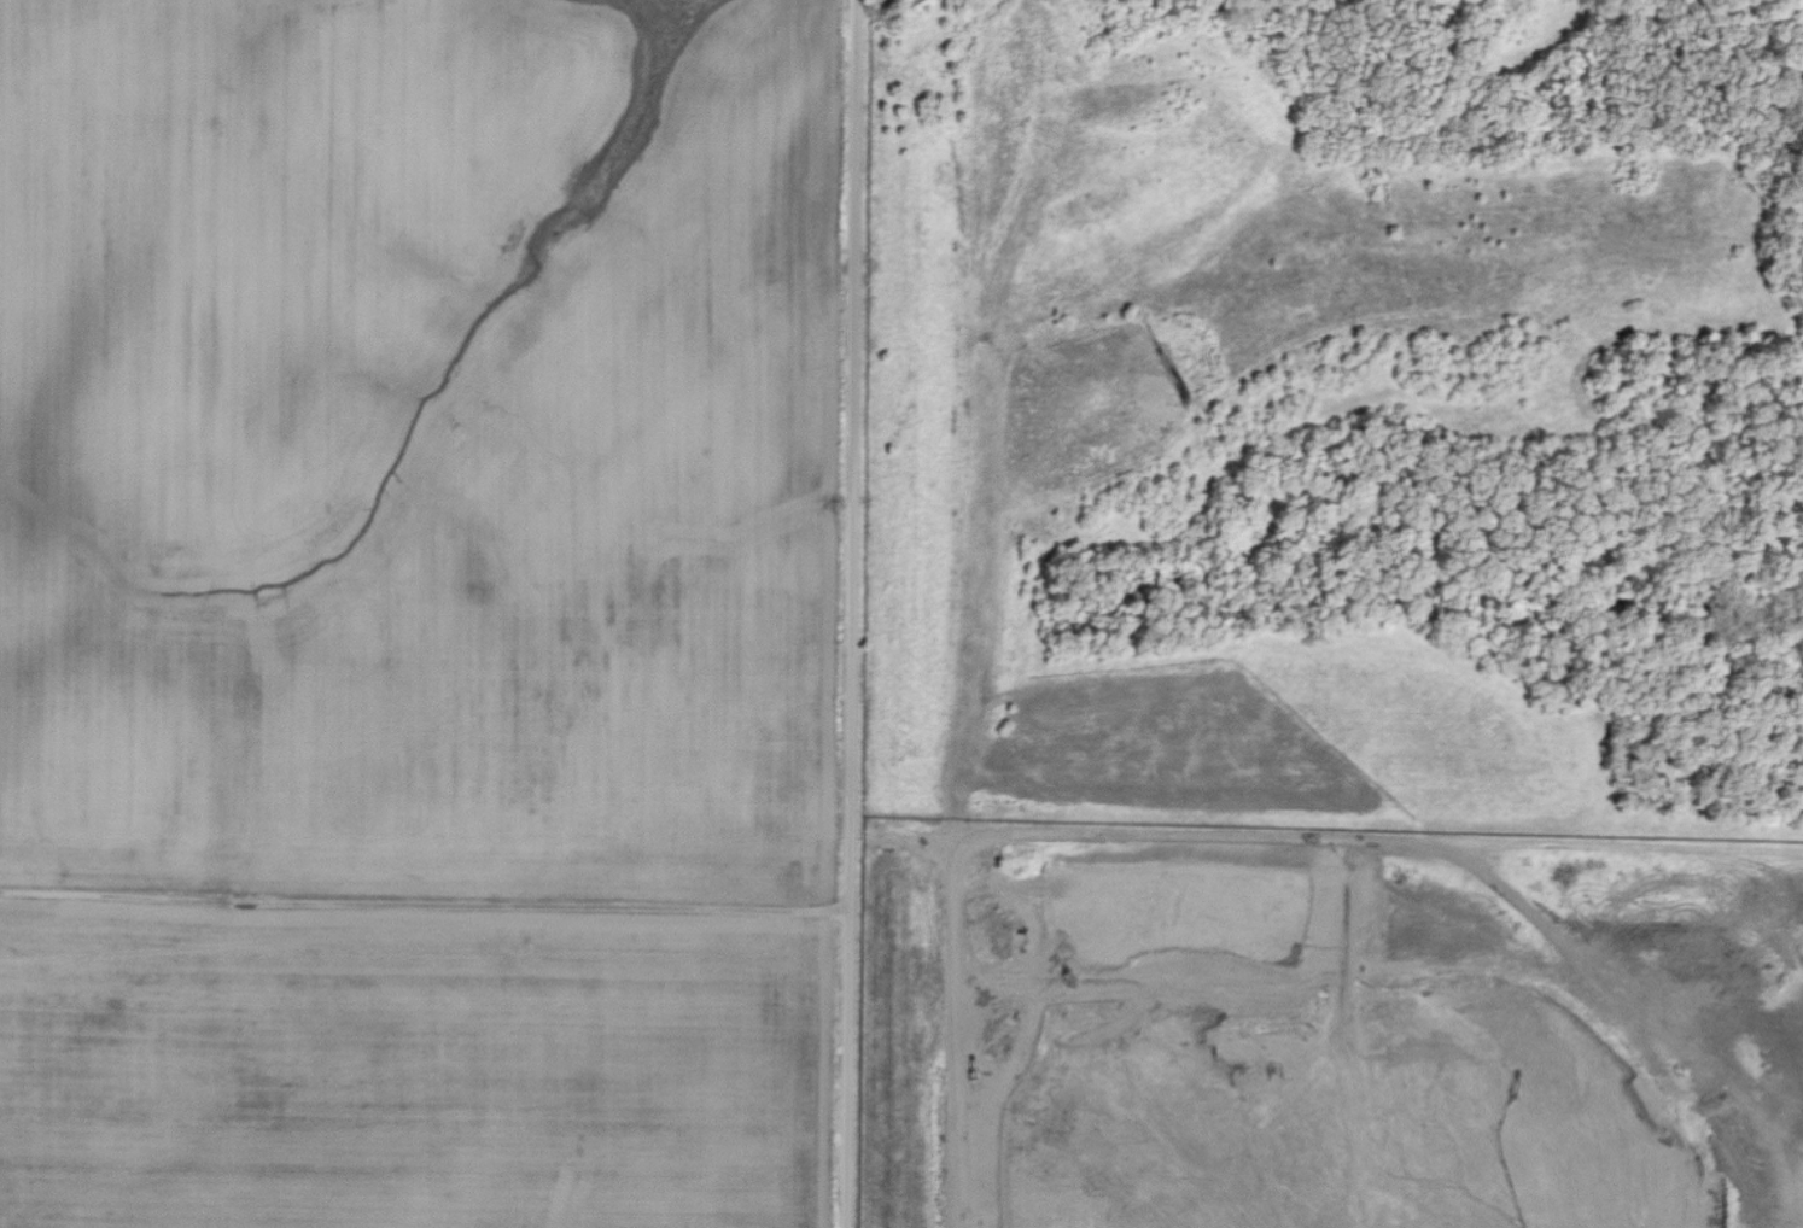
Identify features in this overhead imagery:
road: (852, 614)

